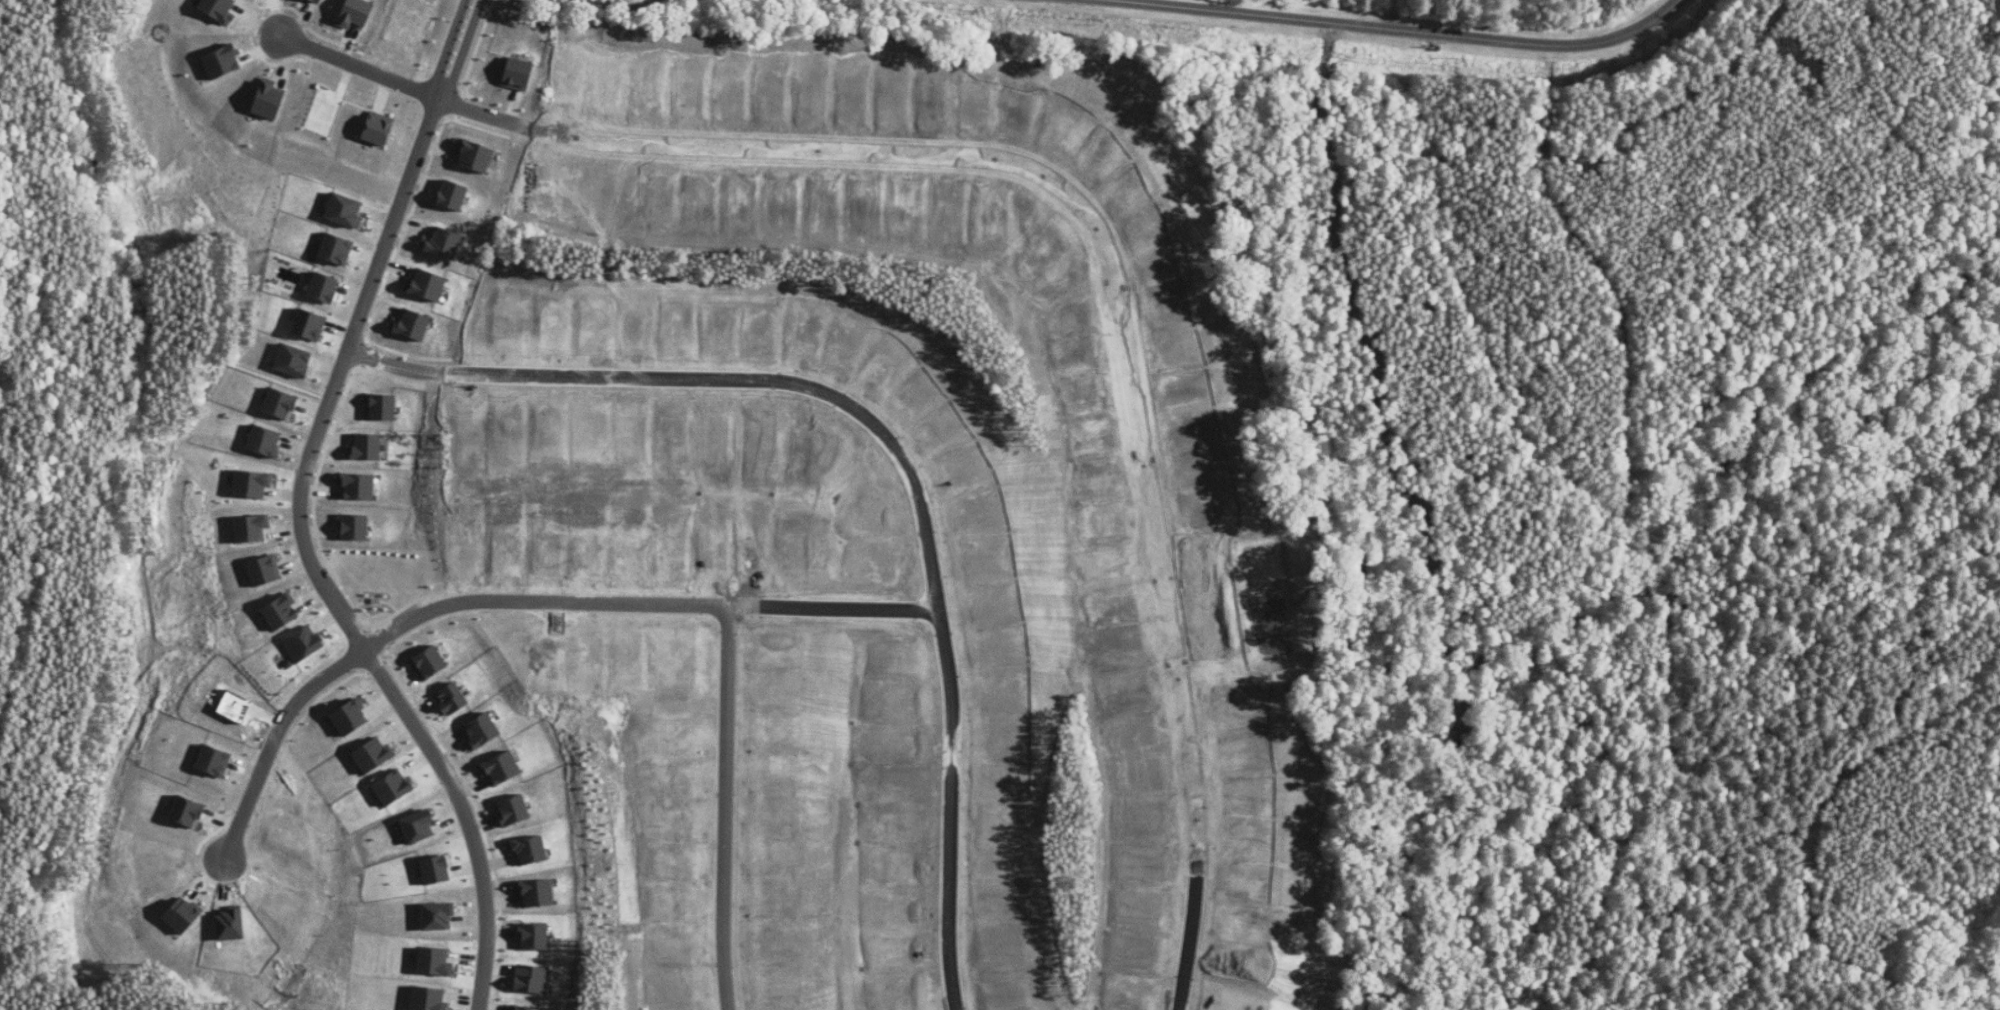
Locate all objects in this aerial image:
building: (318, 0)
building: (217, 7)
road: (1349, 27)
road: (458, 50)
building: (222, 62)
road: (361, 68)
building: (518, 74)
building: (269, 97)
road: (482, 114)
building: (379, 128)
building: (474, 155)
building: (453, 195)
building: (345, 210)
building: (443, 243)
building: (337, 249)
building: (427, 285)
building: (324, 287)
building: (310, 324)
building: (412, 325)
building: (294, 360)
building: (281, 403)
building: (382, 407)
building: (265, 441)
building: (366, 447)
road: (896, 448)
building: (253, 483)
building: (358, 486)
building: (355, 526)
building: (252, 528)
road: (325, 564)
building: (265, 570)
road: (622, 594)
road: (838, 610)
building: (282, 612)
building: (299, 640)
building: (429, 662)
building: (352, 715)
building: (482, 733)
building: (374, 756)
building: (501, 768)
building: (393, 788)
building: (514, 810)
building: (186, 811)
building: (418, 826)
building: (529, 850)
building: (437, 869)
building: (537, 892)
building: (182, 915)
building: (438, 916)
building: (535, 936)
road: (1189, 947)
building: (434, 962)
building: (533, 979)
building: (522, 1008)

